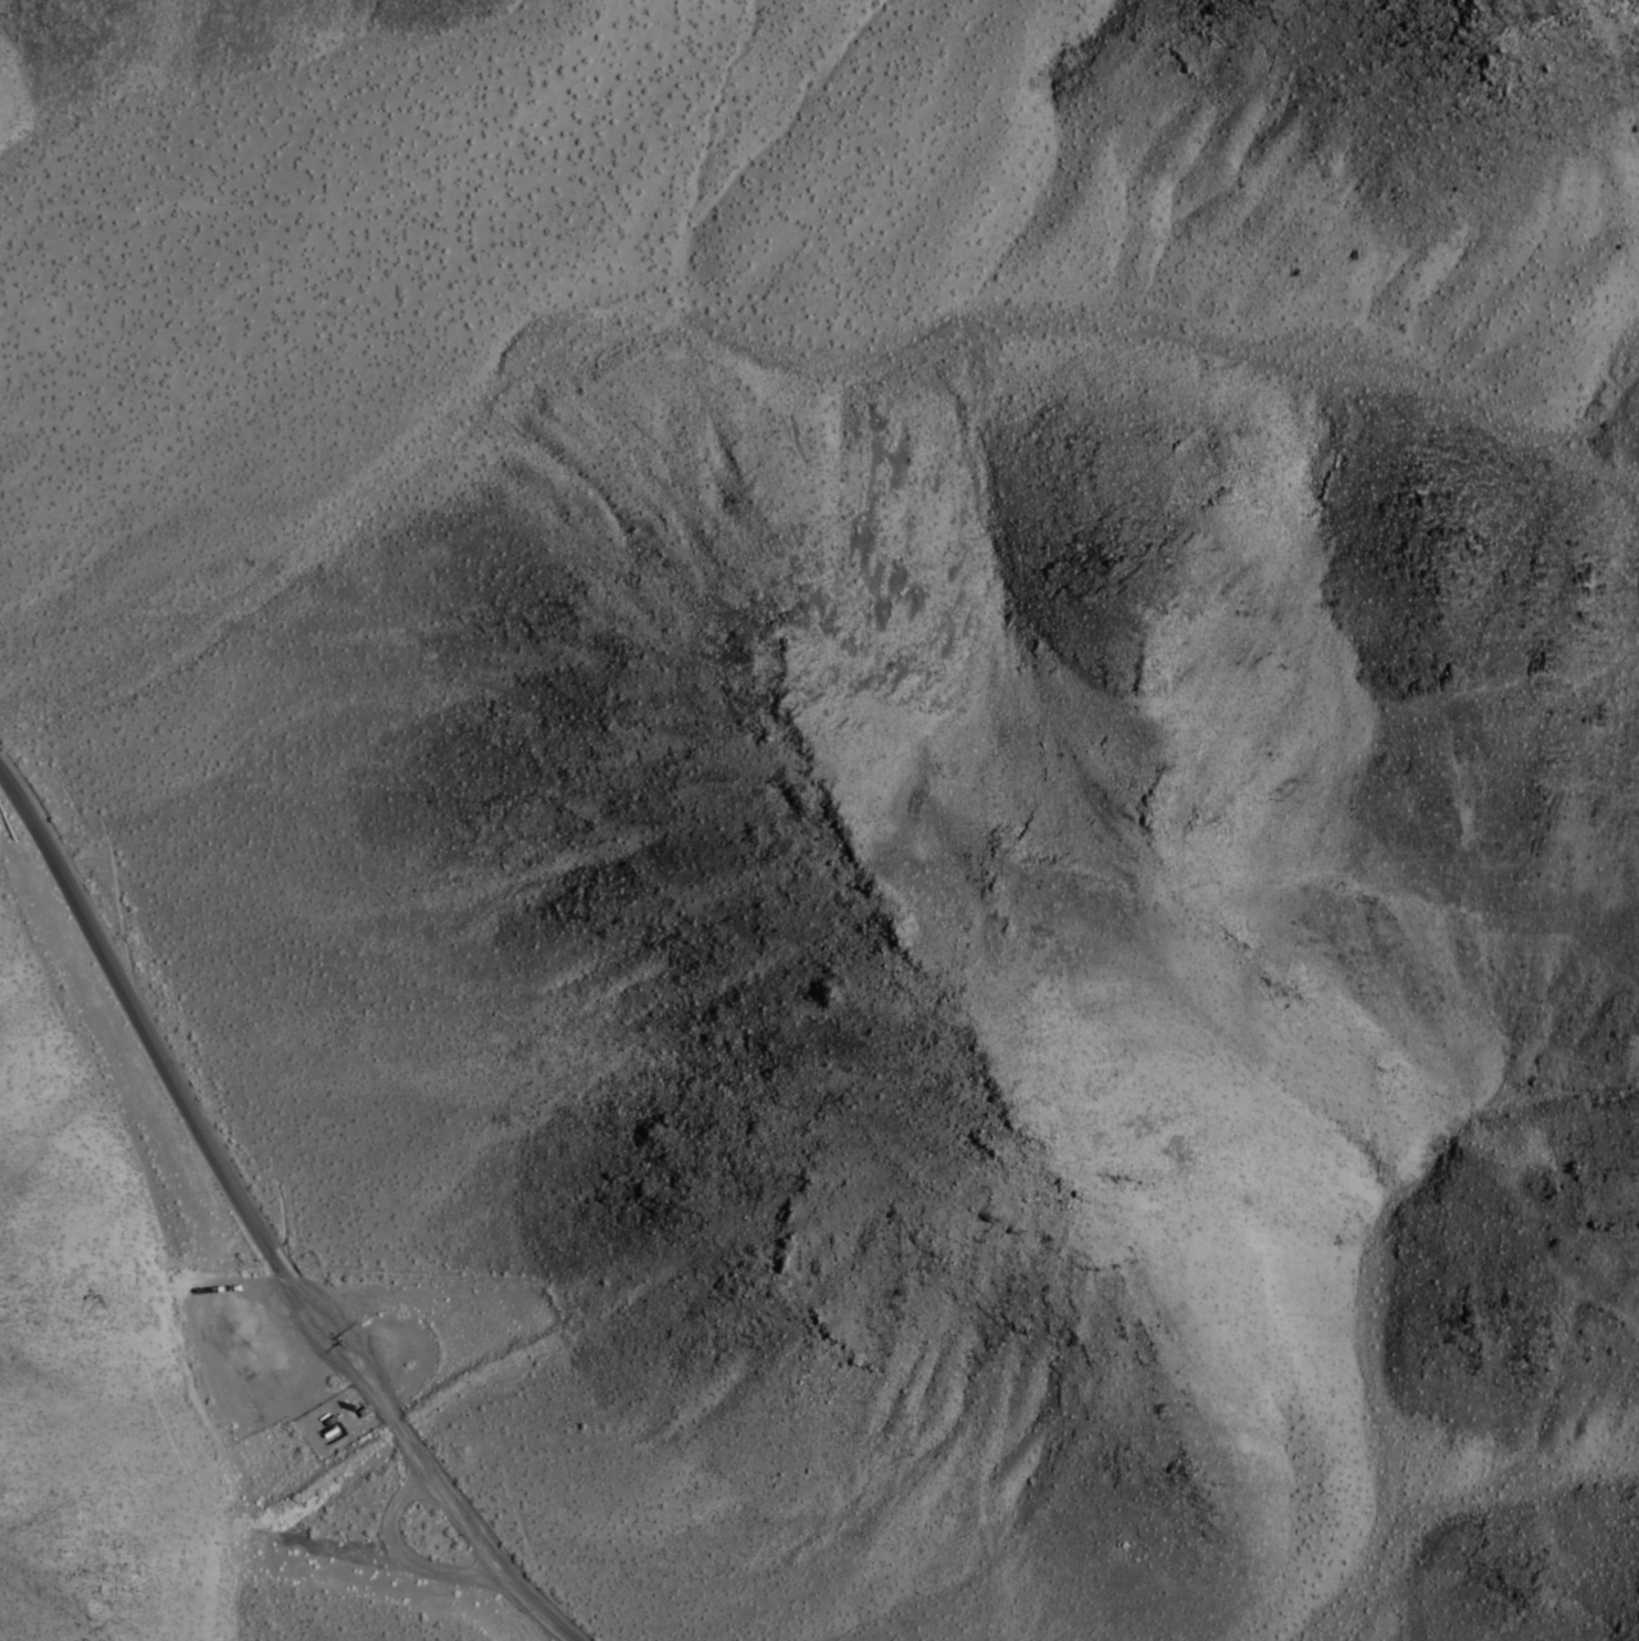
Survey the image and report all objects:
road: (254, 1229)
building: (333, 1437)

